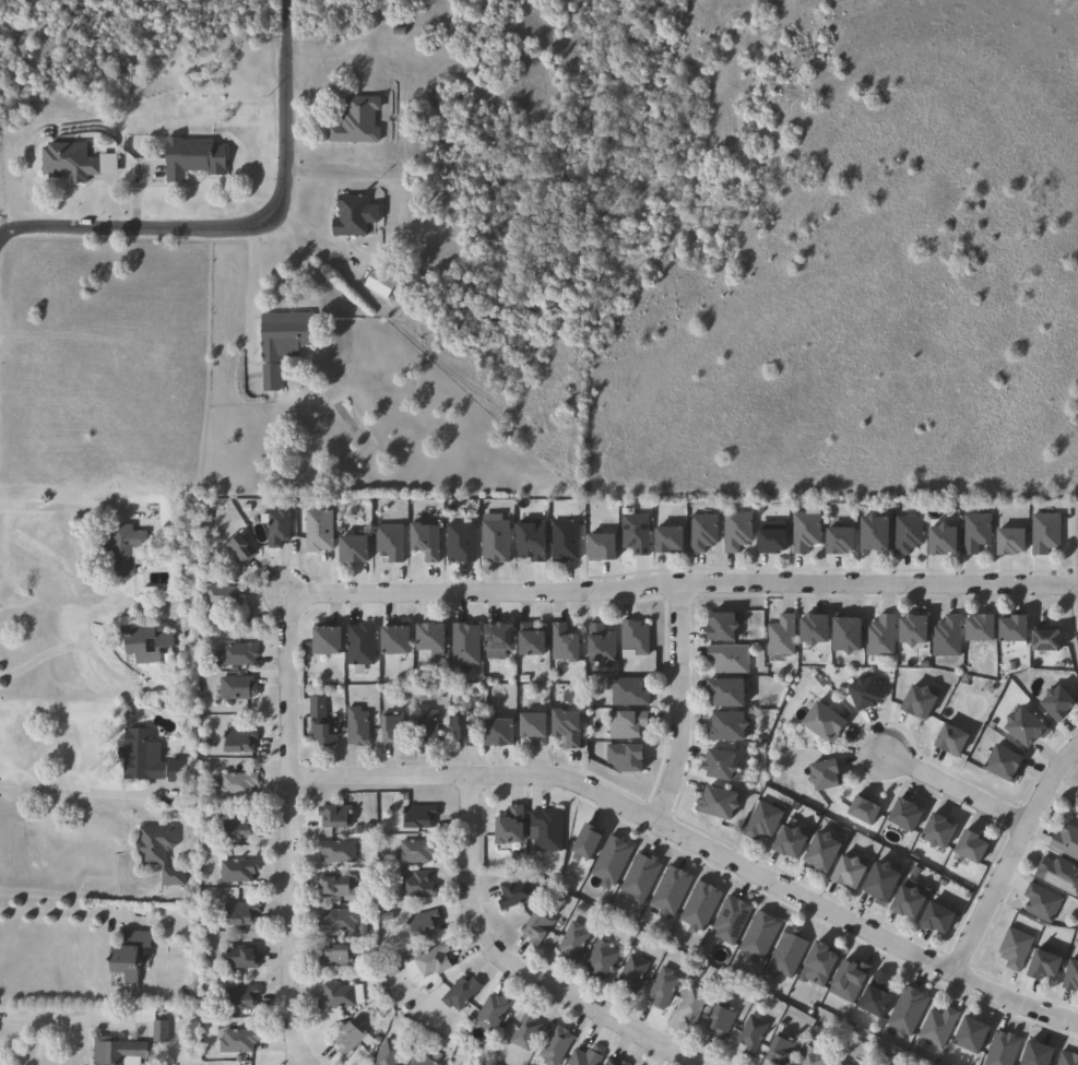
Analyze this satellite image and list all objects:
building: (355, 121)
building: (192, 157)
building: (68, 162)
building: (351, 216)
road: (250, 227)
road: (2, 235)
building: (379, 283)
road: (248, 306)
building: (284, 334)
building: (268, 378)
road: (57, 508)
building: (276, 526)
building: (318, 531)
building: (736, 531)
building: (804, 532)
building: (701, 533)
building: (975, 533)
building: (1045, 533)
building: (635, 534)
building: (876, 534)
building: (908, 534)
building: (495, 539)
building: (670, 540)
building: (531, 541)
building: (944, 541)
building: (1012, 541)
building: (425, 542)
building: (564, 542)
building: (772, 542)
building: (841, 542)
building: (389, 543)
building: (460, 543)
building: (602, 547)
building: (121, 549)
building: (353, 549)
building: (235, 552)
road: (443, 591)
building: (221, 597)
building: (723, 628)
building: (982, 628)
building: (815, 629)
building: (1015, 629)
building: (915, 631)
building: (849, 636)
building: (636, 637)
building: (781, 637)
building: (881, 637)
building: (947, 638)
building: (431, 640)
building: (145, 641)
building: (327, 641)
building: (395, 641)
building: (498, 641)
building: (531, 642)
building: (1047, 642)
road: (78, 644)
building: (360, 644)
building: (564, 644)
building: (464, 646)
building: (601, 646)
building: (236, 655)
building: (730, 660)
building: (237, 688)
building: (627, 693)
building: (727, 694)
building: (866, 695)
road: (675, 702)
building: (921, 703)
building: (1061, 705)
building: (321, 723)
building: (825, 724)
building: (626, 725)
building: (356, 726)
building: (425, 726)
building: (730, 727)
building: (534, 729)
building: (567, 729)
building: (1026, 729)
building: (391, 731)
building: (464, 731)
building: (500, 734)
building: (237, 741)
building: (953, 742)
building: (147, 760)
building: (1006, 765)
building: (722, 766)
building: (826, 777)
building: (236, 785)
road: (950, 790)
road: (82, 792)
building: (1075, 797)
building: (720, 804)
building: (865, 813)
building: (332, 815)
building: (417, 815)
building: (907, 817)
building: (762, 823)
building: (238, 827)
building: (511, 829)
building: (546, 830)
building: (939, 833)
road: (695, 841)
building: (1066, 841)
building: (791, 844)
building: (973, 849)
building: (158, 851)
building: (336, 851)
building: (415, 851)
road: (1008, 852)
building: (824, 854)
building: (613, 862)
building: (237, 872)
building: (1059, 873)
building: (851, 875)
building: (337, 885)
building: (414, 885)
building: (884, 885)
building: (514, 891)
road: (86, 894)
building: (1042, 901)
building: (910, 904)
road: (63, 912)
building: (238, 915)
road: (994, 915)
building: (336, 921)
building: (939, 921)
building: (422, 923)
building: (536, 926)
building: (753, 935)
building: (573, 942)
building: (1009, 947)
building: (128, 954)
building: (779, 955)
building: (335, 956)
building: (240, 957)
building: (601, 959)
building: (429, 960)
building: (809, 962)
building: (1046, 963)
road: (514, 969)
building: (631, 972)
building: (1073, 975)
building: (664, 984)
building: (460, 992)
building: (339, 995)
building: (877, 995)
building: (240, 996)
building: (690, 1003)
building: (490, 1013)
road: (69, 1017)
building: (720, 1019)
building: (932, 1026)
building: (158, 1030)
building: (525, 1030)
building: (751, 1033)
building: (962, 1033)
building: (347, 1037)
building: (237, 1040)
building: (556, 1045)
building: (115, 1050)
building: (780, 1051)
building: (387, 1053)
building: (1028, 1054)
building: (584, 1056)
building: (814, 1056)
building: (419, 1061)
building: (623, 1062)
building: (612, 1063)
building: (842, 1063)

